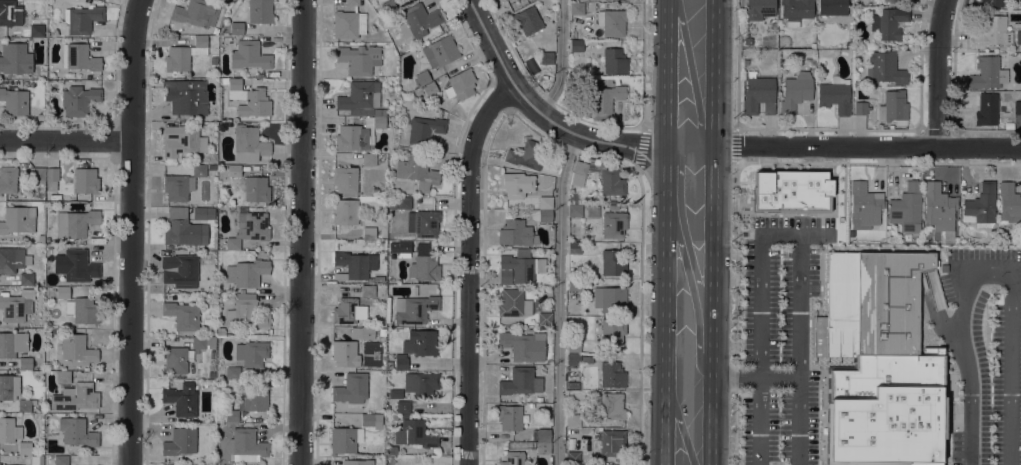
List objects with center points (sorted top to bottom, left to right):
building: (890, 0)
building: (225, 1)
building: (991, 3)
building: (388, 6)
building: (577, 8)
building: (833, 8)
building: (759, 9)
building: (260, 11)
building: (796, 11)
building: (10, 12)
building: (196, 13)
building: (83, 18)
building: (418, 20)
building: (527, 20)
building: (349, 22)
building: (612, 22)
building: (888, 23)
building: (1016, 24)
building: (773, 26)
building: (237, 28)
building: (37, 30)
building: (215, 30)
building: (991, 32)
building: (1018, 37)
building: (576, 46)
building: (441, 51)
building: (184, 54)
building: (249, 55)
building: (79, 57)
building: (547, 57)
building: (15, 58)
building: (359, 59)
building: (213, 60)
road: (563, 60)
building: (615, 61)
building: (745, 62)
building: (885, 67)
road: (667, 73)
road: (712, 73)
road: (942, 73)
building: (987, 73)
road: (692, 74)
building: (422, 78)
building: (225, 80)
building: (460, 84)
building: (430, 89)
building: (795, 91)
building: (758, 94)
building: (835, 95)
building: (186, 96)
building: (359, 98)
building: (79, 99)
building: (248, 100)
building: (14, 101)
building: (605, 101)
building: (861, 107)
building: (893, 107)
building: (1017, 107)
building: (988, 109)
road: (539, 113)
building: (382, 114)
building: (40, 117)
building: (226, 125)
road: (738, 127)
road: (830, 128)
building: (425, 129)
road: (539, 133)
building: (358, 134)
building: (182, 140)
road: (65, 141)
building: (249, 144)
road: (736, 145)
road: (689, 146)
road: (866, 147)
building: (527, 154)
building: (184, 159)
building: (369, 159)
road: (738, 163)
road: (957, 163)
building: (199, 170)
building: (417, 171)
building: (579, 173)
building: (39, 174)
building: (52, 178)
building: (8, 179)
building: (345, 179)
building: (86, 180)
building: (611, 182)
building: (249, 184)
building: (516, 184)
building: (176, 187)
building: (792, 190)
building: (573, 197)
building: (620, 199)
building: (545, 202)
building: (1009, 202)
building: (404, 203)
building: (613, 206)
building: (865, 206)
building: (981, 206)
building: (907, 207)
building: (939, 207)
road: (835, 209)
building: (575, 210)
building: (346, 211)
building: (204, 213)
building: (545, 216)
building: (18, 219)
road: (823, 220)
building: (76, 222)
building: (425, 223)
building: (613, 224)
building: (250, 229)
road: (131, 232)
building: (184, 232)
road: (301, 232)
building: (516, 233)
road: (795, 233)
building: (369, 234)
building: (41, 235)
road: (823, 235)
road: (686, 238)
road: (737, 238)
building: (575, 247)
building: (400, 248)
road: (880, 250)
building: (13, 259)
building: (613, 263)
building: (78, 264)
building: (351, 266)
building: (519, 266)
road: (470, 267)
building: (425, 268)
building: (180, 270)
building: (247, 272)
building: (26, 278)
building: (379, 278)
building: (371, 279)
building: (574, 285)
road: (691, 288)
building: (241, 291)
building: (63, 292)
road: (558, 298)
building: (610, 299)
building: (514, 303)
building: (870, 304)
building: (16, 305)
road: (665, 305)
road: (711, 305)
building: (354, 306)
road: (933, 306)
building: (414, 309)
building: (82, 310)
building: (246, 313)
road: (961, 314)
building: (183, 315)
building: (544, 318)
building: (219, 321)
building: (612, 330)
building: (220, 331)
building: (362, 332)
building: (382, 332)
building: (203, 342)
building: (421, 342)
building: (12, 343)
building: (524, 345)
building: (574, 345)
building: (78, 348)
road: (761, 349)
road: (800, 349)
building: (252, 353)
building: (345, 353)
road: (810, 355)
building: (176, 359)
building: (574, 359)
building: (586, 359)
building: (401, 361)
building: (25, 363)
road: (1012, 368)
building: (233, 372)
building: (211, 374)
building: (612, 374)
building: (63, 377)
road: (755, 377)
building: (520, 381)
building: (421, 384)
building: (573, 384)
building: (9, 387)
building: (351, 388)
building: (395, 393)
building: (75, 397)
building: (253, 398)
building: (182, 399)
building: (539, 399)
building: (46, 403)
building: (25, 405)
building: (403, 406)
building: (611, 406)
building: (40, 407)
building: (888, 410)
road: (944, 411)
building: (231, 416)
building: (393, 416)
building: (509, 417)
building: (368, 420)
building: (573, 420)
road: (679, 421)
road: (971, 429)
building: (9, 430)
building: (77, 432)
building: (415, 433)
building: (543, 434)
building: (343, 440)
building: (180, 441)
building: (612, 443)
building: (245, 445)
building: (569, 445)
building: (24, 447)
building: (543, 448)
building: (392, 450)
building: (573, 457)
building: (515, 458)
building: (61, 460)
building: (358, 462)
building: (0, 464)
building: (3, 464)

